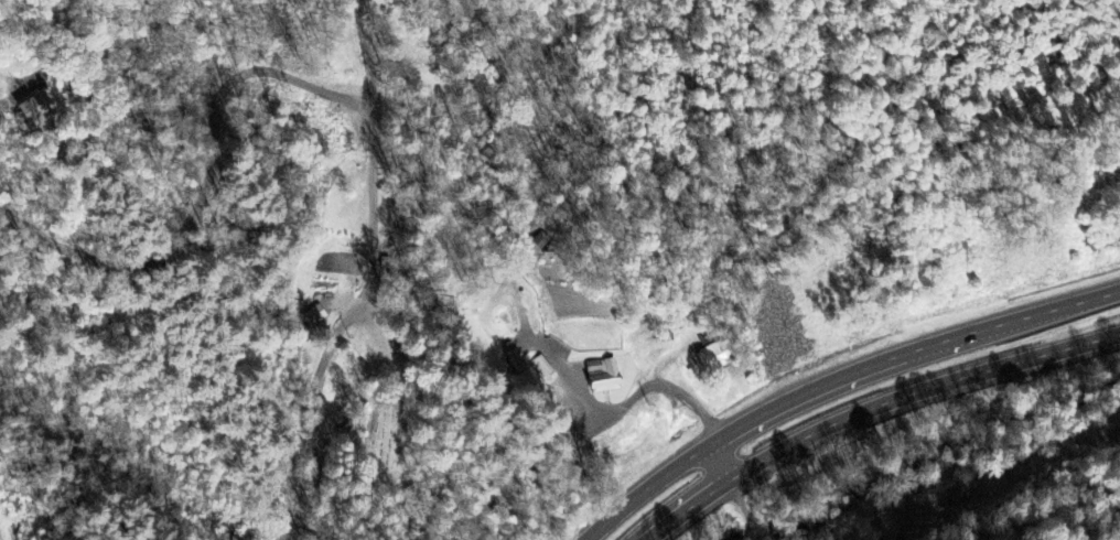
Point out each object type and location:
building: (34, 108)
road: (369, 279)
building: (713, 356)
road: (837, 379)
road: (875, 402)
road: (594, 408)
road: (740, 499)
road: (1026, 523)
road: (749, 530)

